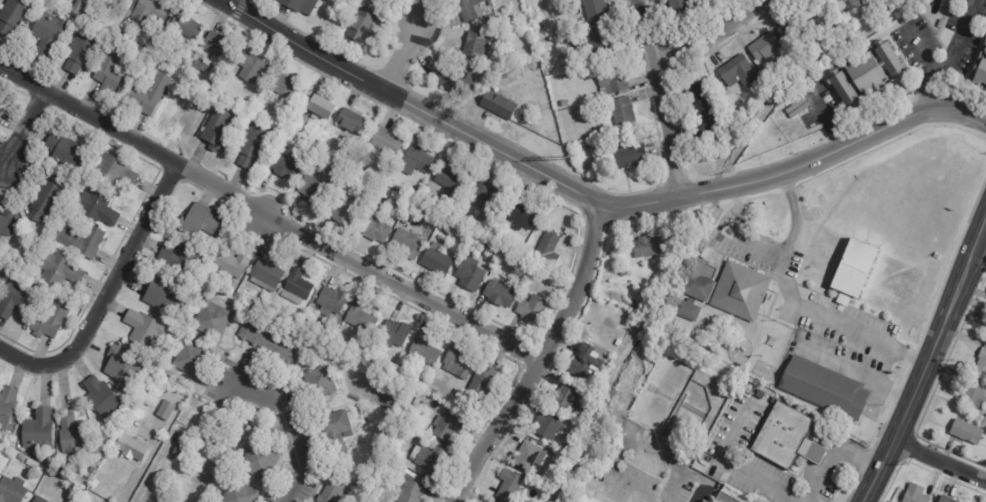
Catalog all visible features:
road: (225, 0)
building: (865, 0)
building: (364, 1)
building: (114, 3)
building: (489, 3)
building: (299, 5)
building: (76, 9)
building: (681, 10)
building: (467, 11)
building: (594, 11)
building: (826, 12)
building: (149, 13)
building: (13, 17)
building: (490, 20)
building: (524, 21)
building: (361, 24)
building: (185, 27)
building: (793, 27)
road: (698, 29)
building: (50, 33)
building: (985, 44)
building: (474, 46)
building: (601, 46)
building: (764, 46)
building: (217, 47)
road: (920, 47)
building: (147, 48)
building: (543, 48)
building: (625, 50)
building: (80, 52)
building: (985, 54)
road: (947, 57)
road: (400, 58)
building: (201, 66)
building: (248, 68)
building: (110, 69)
building: (739, 72)
building: (980, 74)
building: (866, 75)
building: (611, 79)
building: (454, 80)
building: (209, 86)
building: (282, 86)
building: (797, 94)
building: (148, 96)
road: (660, 97)
building: (498, 105)
building: (321, 108)
building: (797, 108)
building: (0, 112)
building: (622, 112)
building: (704, 112)
building: (352, 123)
road: (453, 127)
building: (598, 129)
building: (216, 130)
road: (20, 138)
road: (855, 140)
building: (386, 142)
building: (290, 143)
building: (252, 147)
building: (588, 147)
building: (66, 152)
building: (628, 154)
power tower: (568, 157)
building: (416, 162)
building: (284, 167)
building: (113, 171)
building: (453, 180)
road: (711, 190)
building: (311, 192)
building: (417, 194)
building: (487, 195)
building: (45, 198)
building: (428, 203)
building: (96, 207)
building: (343, 211)
building: (520, 216)
road: (268, 219)
building: (405, 219)
building: (199, 221)
building: (465, 222)
building: (6, 224)
building: (373, 230)
building: (459, 232)
building: (81, 242)
building: (405, 245)
building: (648, 246)
building: (494, 250)
building: (547, 250)
building: (181, 259)
building: (436, 260)
building: (229, 263)
building: (853, 270)
building: (58, 271)
building: (2, 275)
building: (470, 275)
building: (540, 275)
building: (265, 276)
building: (698, 282)
building: (295, 288)
building: (740, 291)
building: (249, 292)
building: (161, 294)
building: (499, 295)
building: (16, 299)
road: (104, 299)
building: (626, 299)
road: (793, 300)
building: (331, 301)
building: (265, 304)
building: (275, 308)
building: (531, 309)
building: (689, 310)
building: (616, 311)
building: (360, 318)
building: (50, 320)
building: (211, 321)
building: (142, 329)
building: (313, 330)
building: (394, 335)
building: (619, 343)
building: (267, 345)
building: (423, 352)
building: (355, 354)
building: (191, 359)
road: (539, 360)
building: (982, 360)
building: (584, 361)
road: (925, 361)
building: (458, 364)
building: (121, 366)
building: (390, 369)
road: (856, 373)
building: (398, 374)
building: (318, 383)
building: (481, 384)
building: (825, 387)
building: (433, 392)
building: (975, 394)
building: (567, 395)
building: (103, 396)
building: (353, 399)
building: (7, 405)
building: (166, 411)
building: (245, 412)
building: (580, 418)
building: (213, 422)
building: (548, 424)
road: (284, 429)
building: (446, 429)
building: (37, 430)
building: (334, 430)
building: (967, 431)
building: (787, 437)
building: (72, 439)
building: (131, 449)
building: (12, 451)
building: (210, 451)
building: (183, 452)
building: (527, 457)
road: (830, 457)
building: (21, 458)
building: (392, 458)
building: (428, 459)
road: (940, 459)
building: (258, 462)
building: (32, 464)
road: (731, 468)
road: (139, 469)
building: (91, 471)
road: (150, 472)
building: (378, 480)
building: (418, 481)
building: (509, 485)
building: (333, 489)
building: (12, 491)
building: (409, 492)
building: (239, 493)
building: (915, 493)
building: (588, 498)
building: (724, 498)
building: (945, 499)
building: (38, 500)
building: (705, 501)

